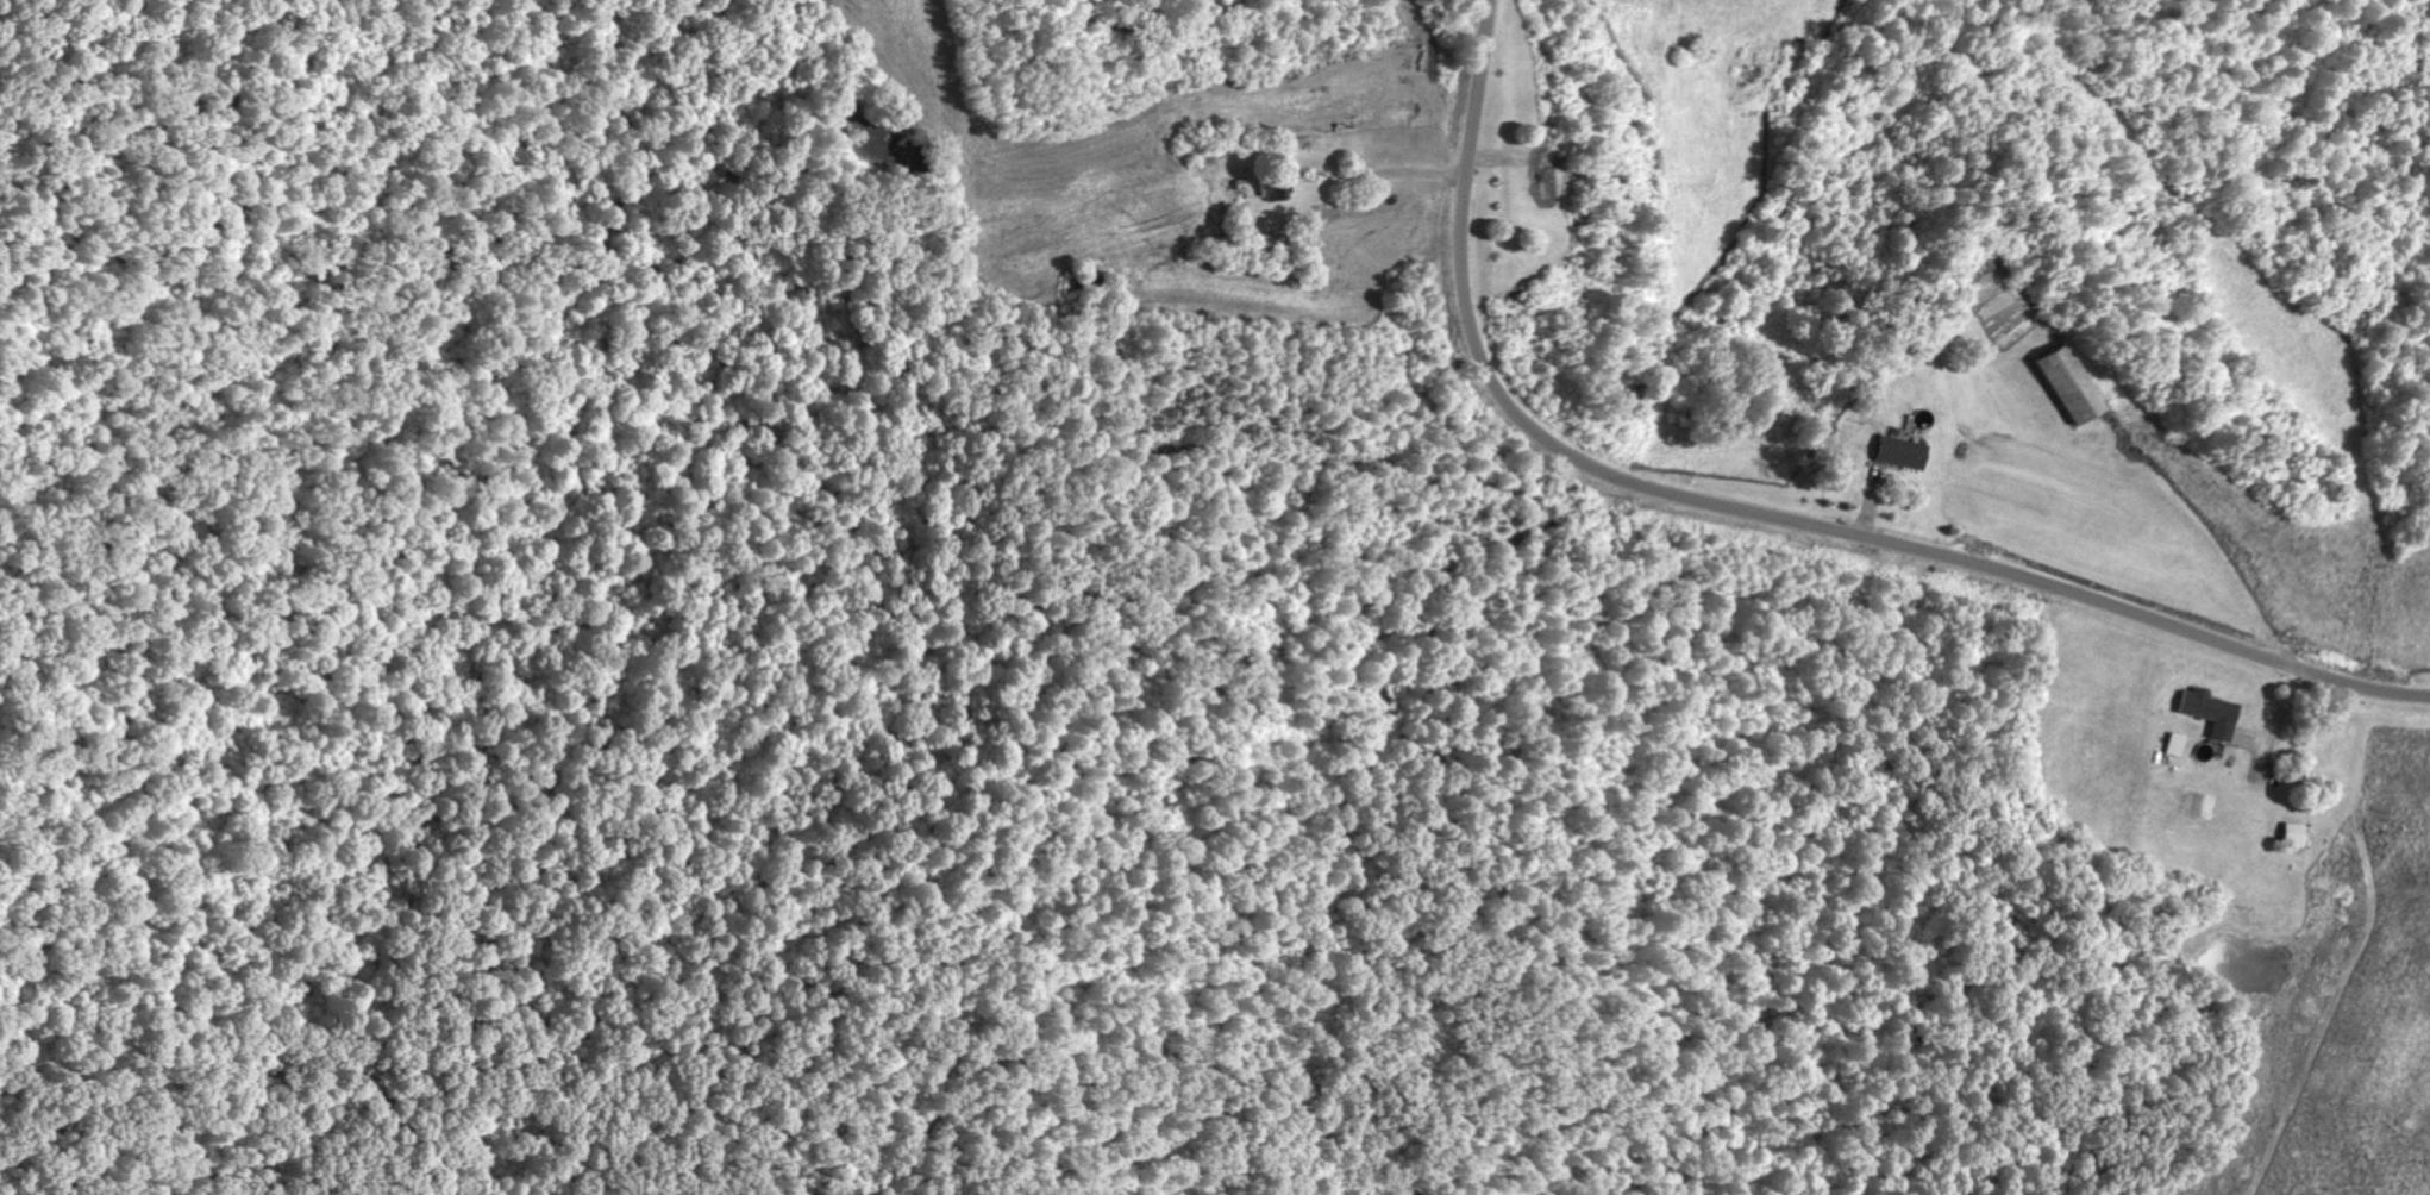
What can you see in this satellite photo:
building: (2067, 384)
building: (1902, 452)
road: (1760, 512)
building: (2212, 712)
building: (2178, 744)
building: (2297, 834)

